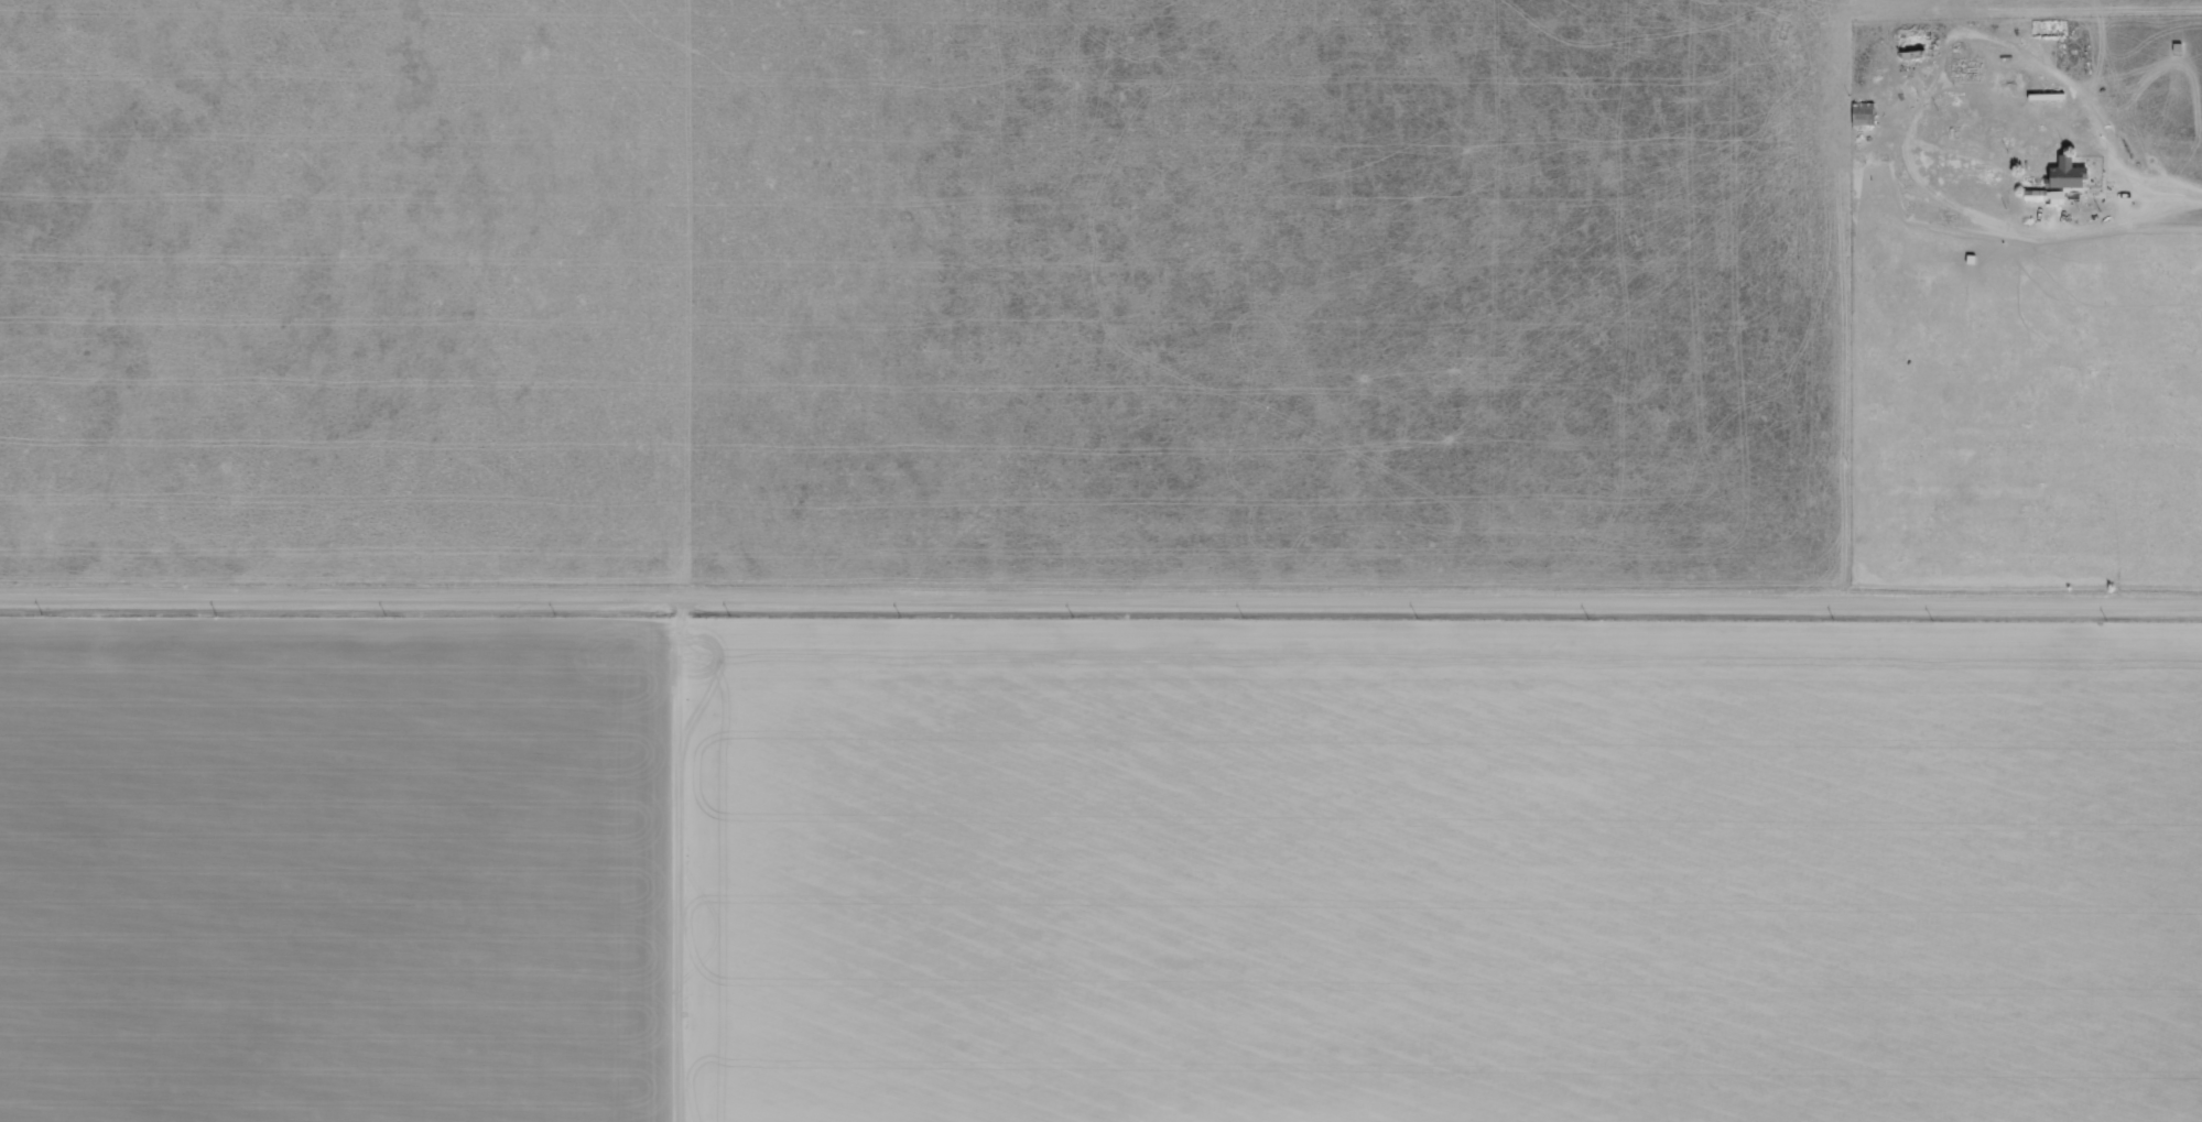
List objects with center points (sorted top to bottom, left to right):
building: (1912, 44)
building: (1864, 115)
building: (2068, 175)
road: (2150, 192)
road: (1100, 602)
road: (674, 862)

